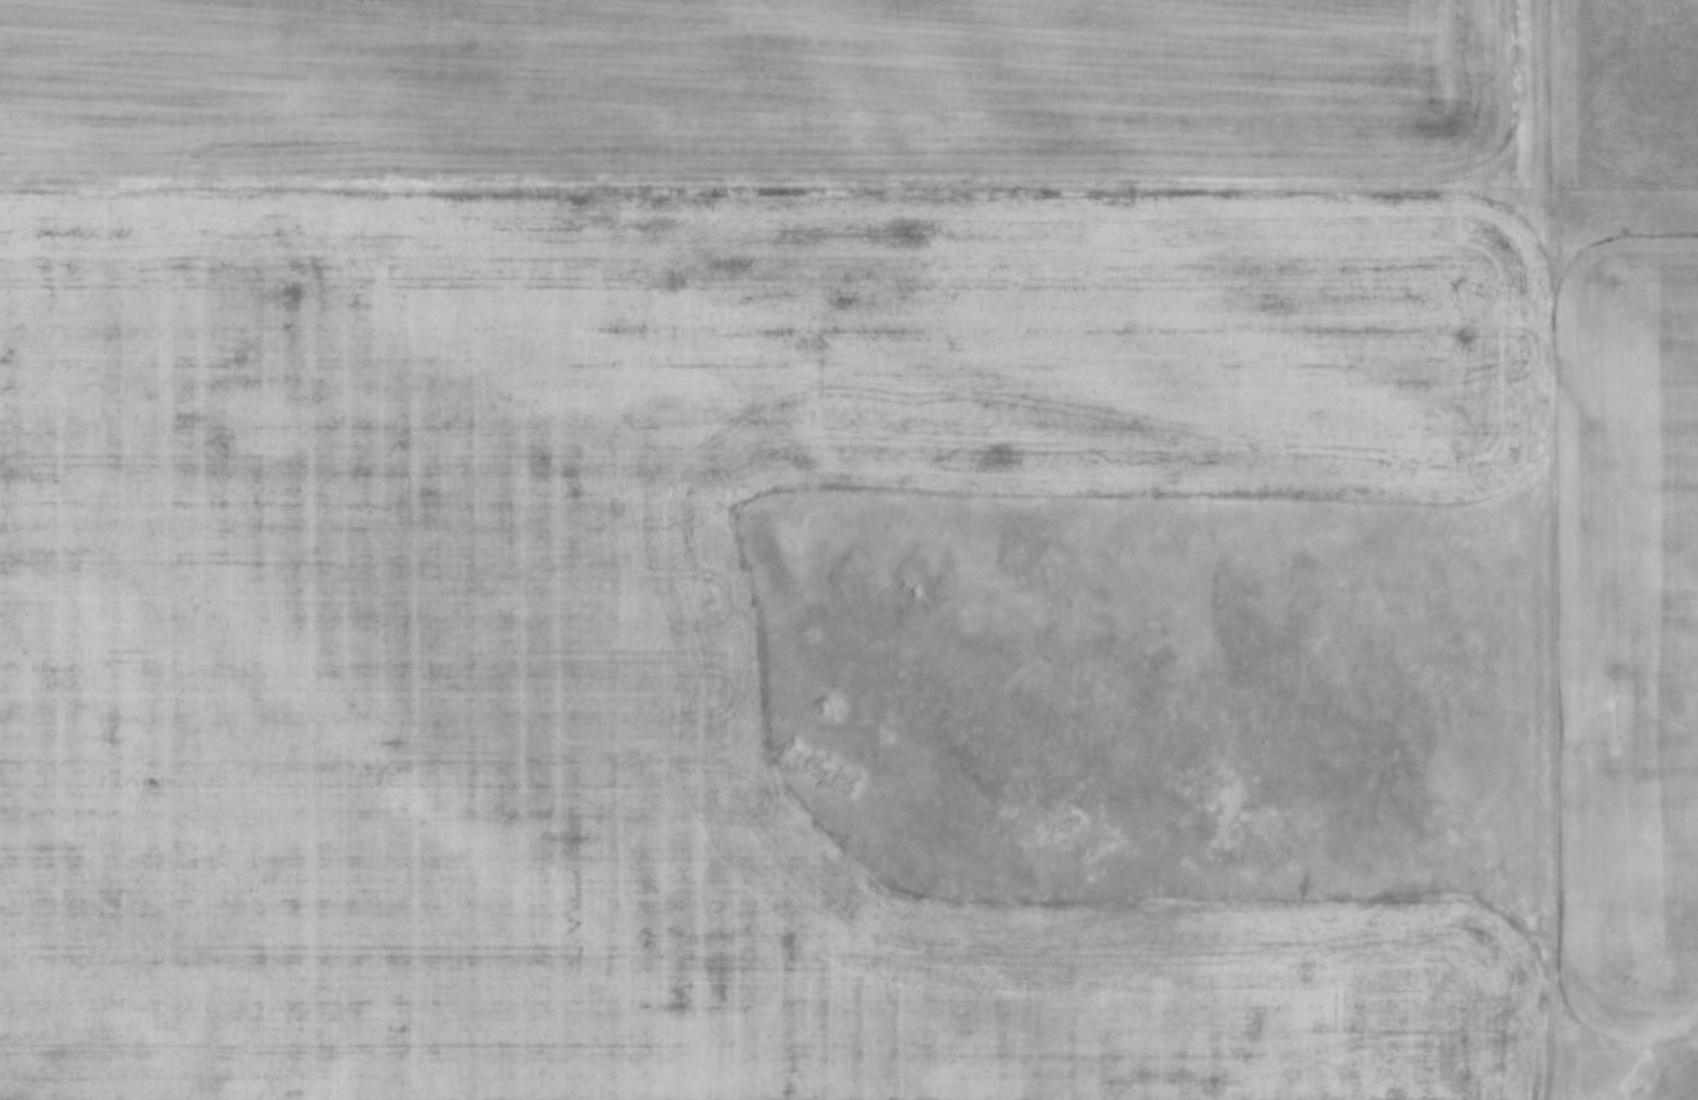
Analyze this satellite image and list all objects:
road: (1542, 106)
road: (1621, 213)
road: (1558, 656)

